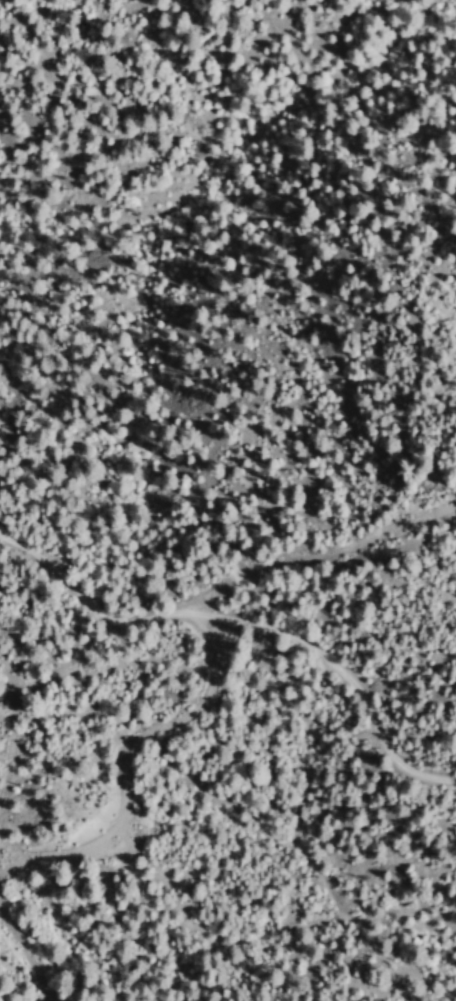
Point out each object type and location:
road: (248, 686)

